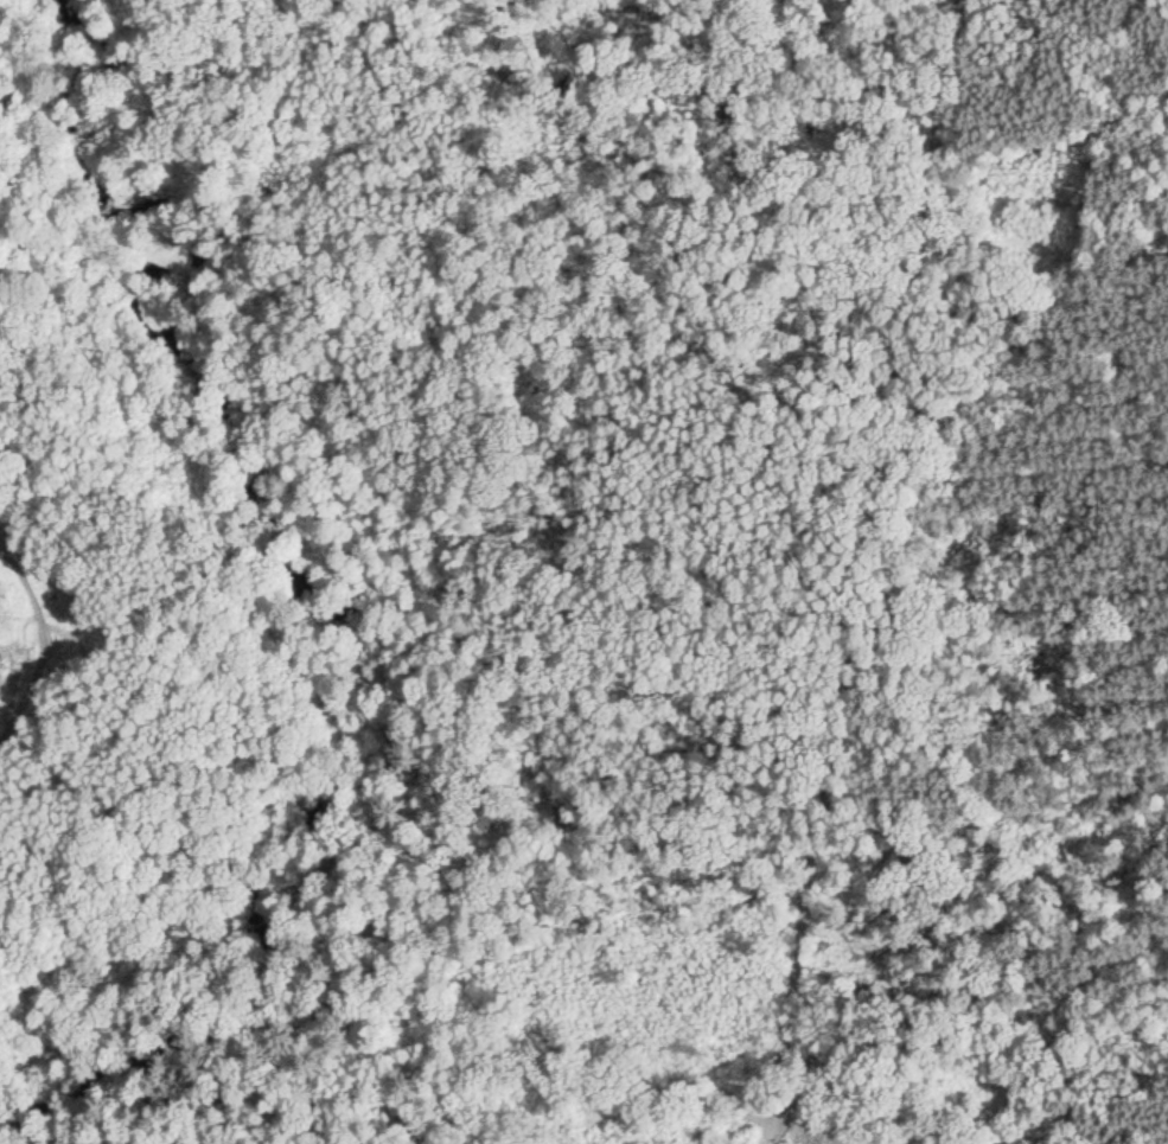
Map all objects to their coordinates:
road: (811, 571)

